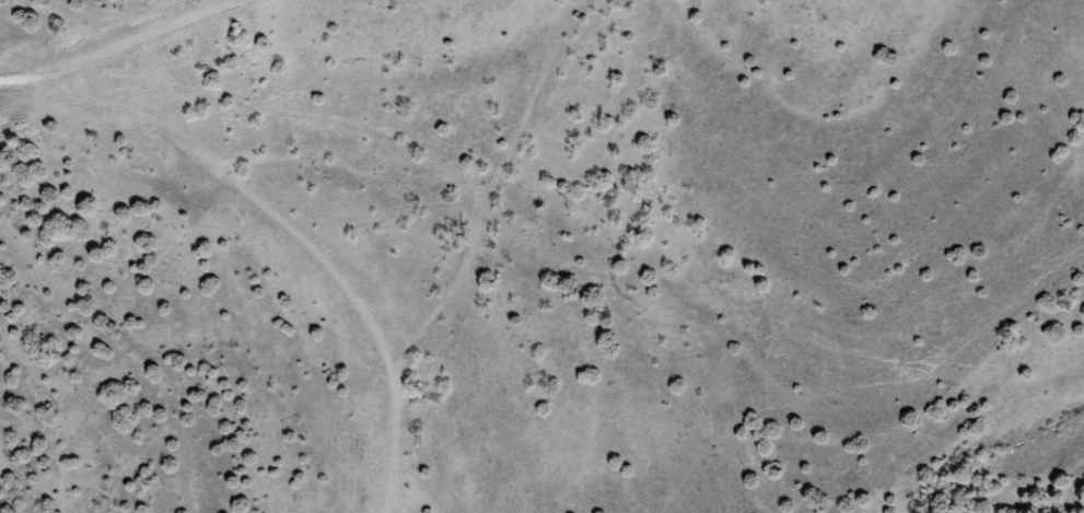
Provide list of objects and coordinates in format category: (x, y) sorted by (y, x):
road: (50, 9)

